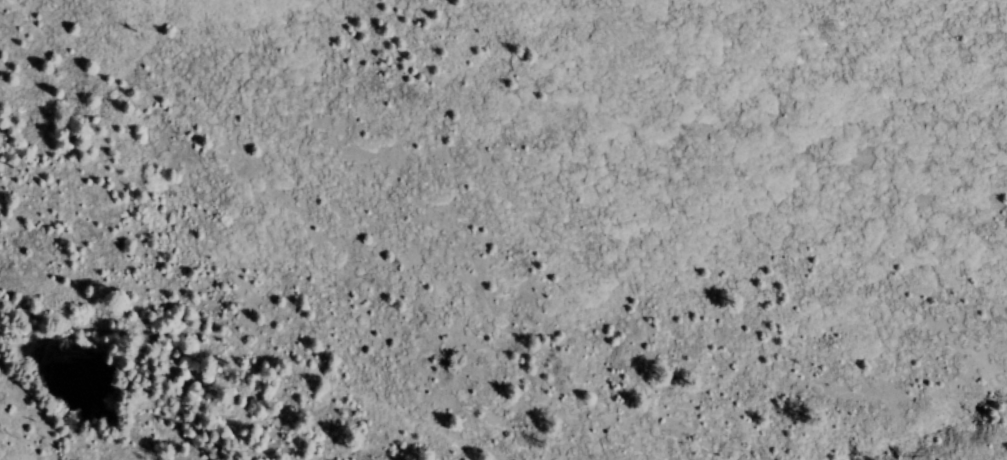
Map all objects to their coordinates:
road: (231, 352)

